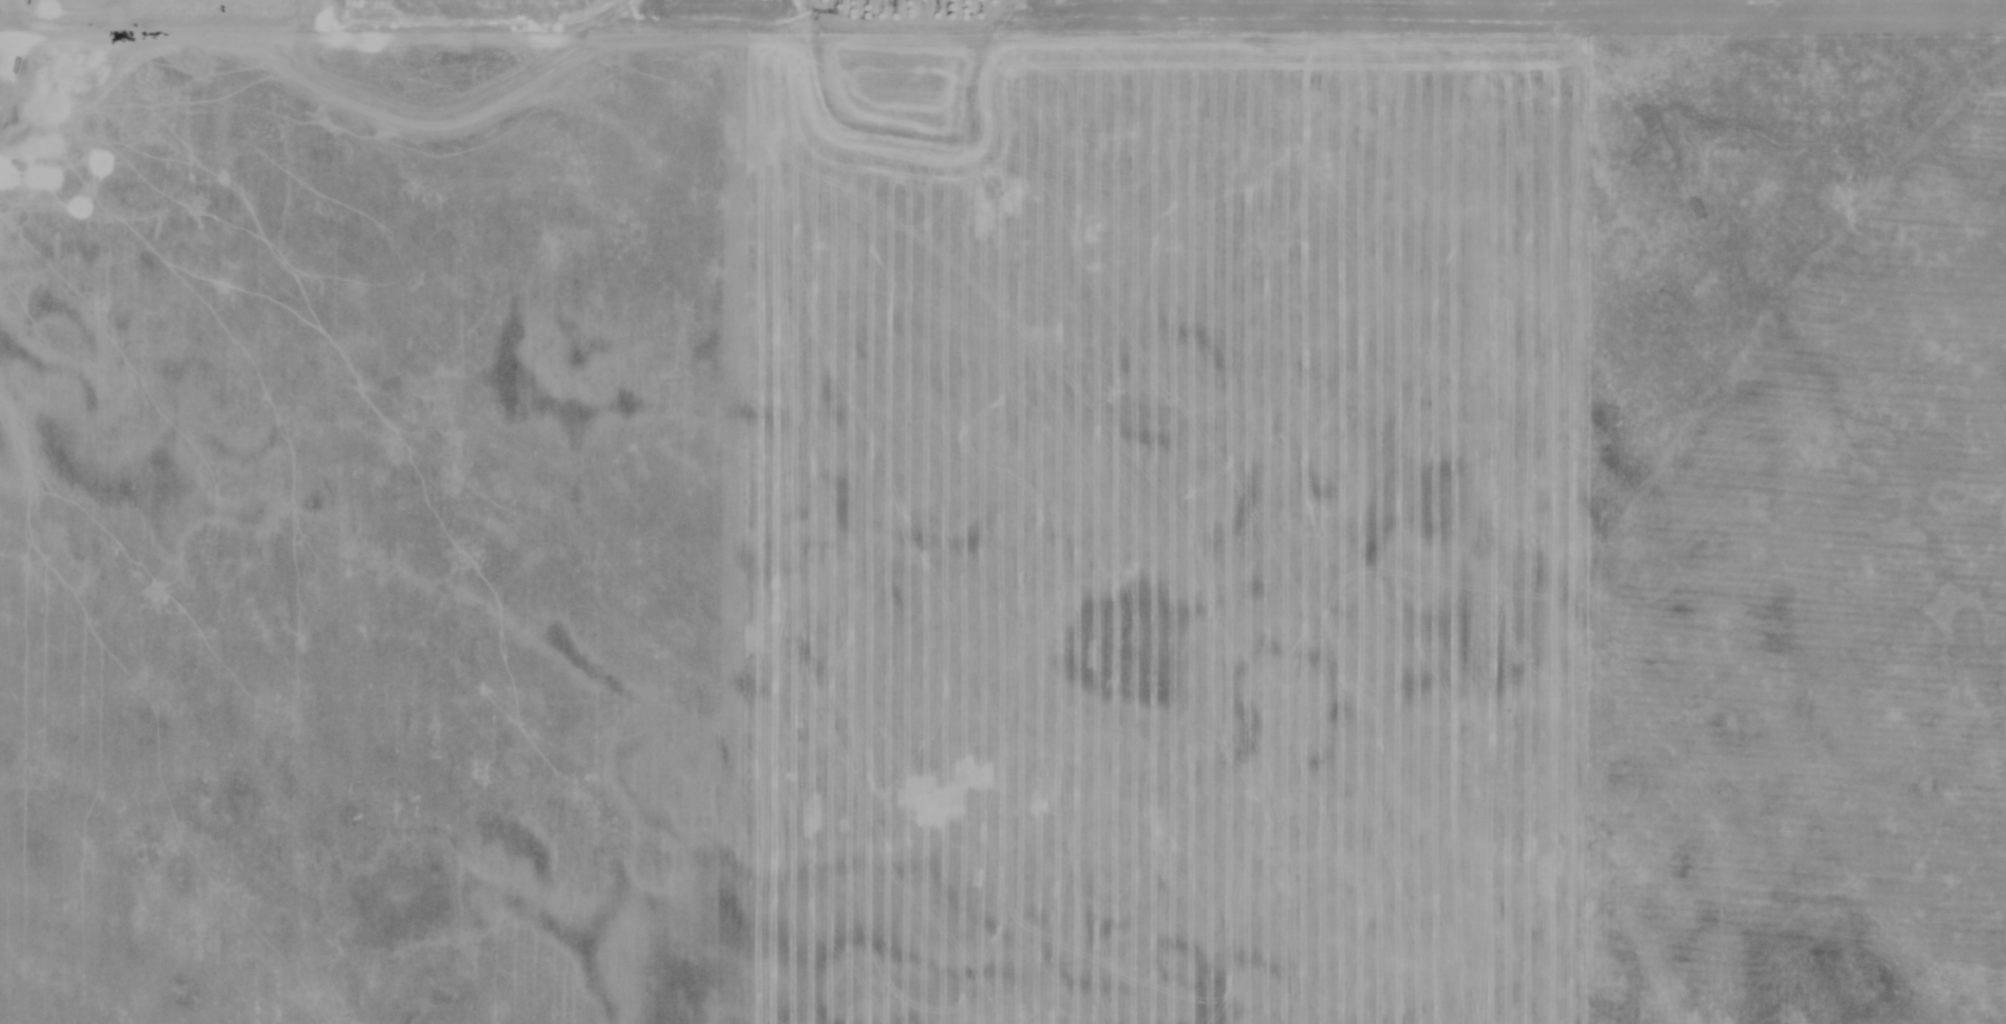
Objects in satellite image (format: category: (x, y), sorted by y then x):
crop: (1003, 512)

